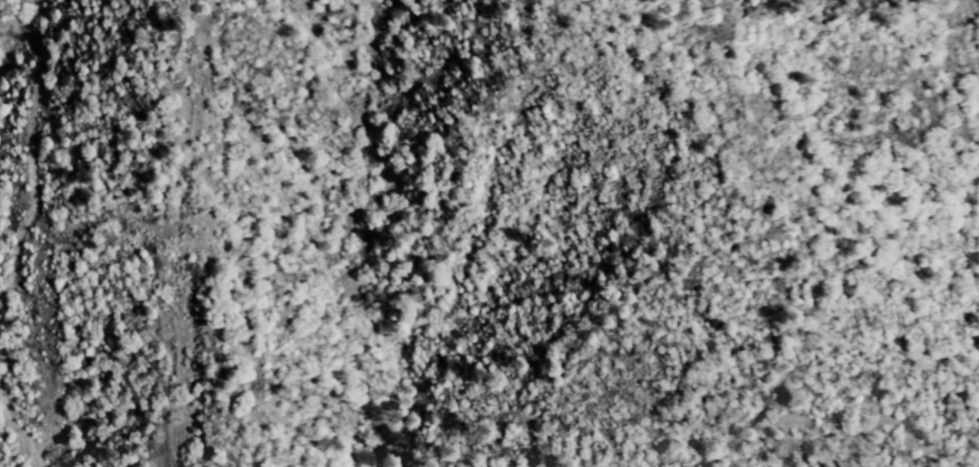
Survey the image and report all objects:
road: (193, 233)

